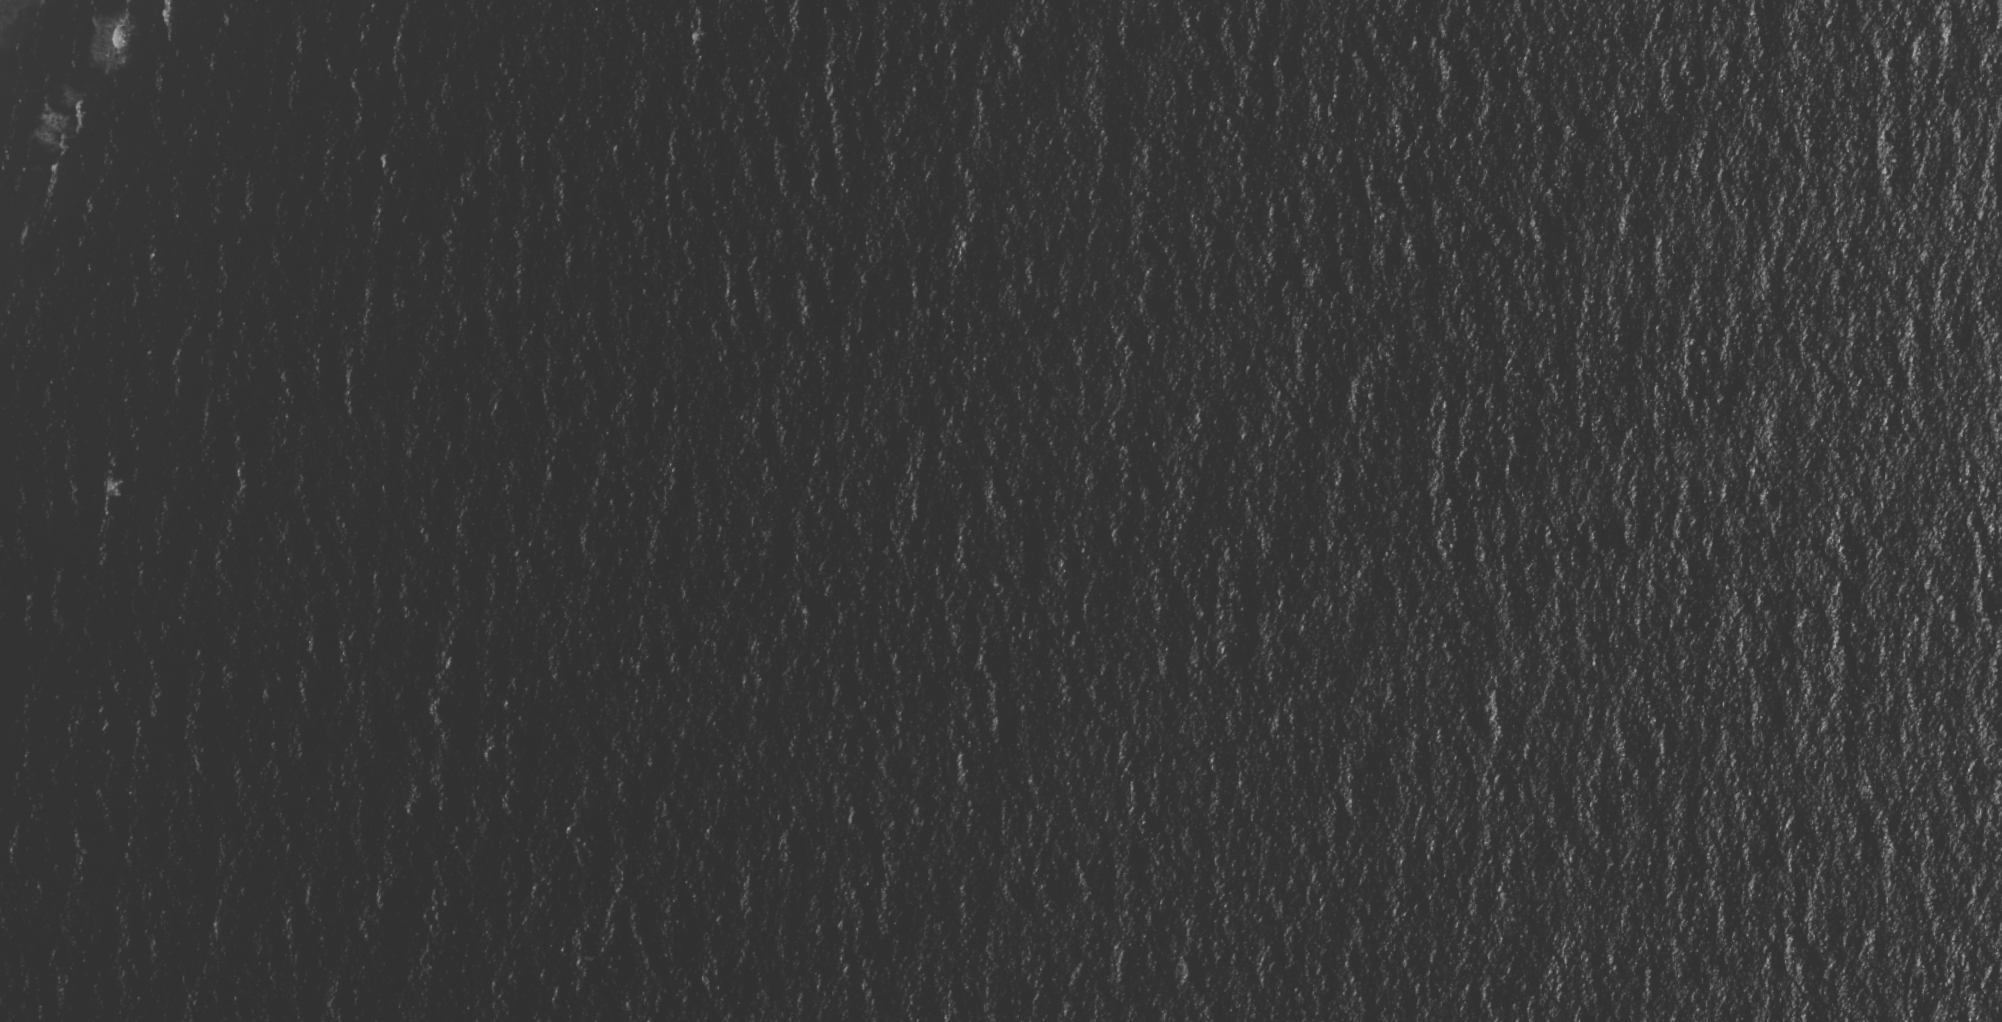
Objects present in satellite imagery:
park: (49, 100)

